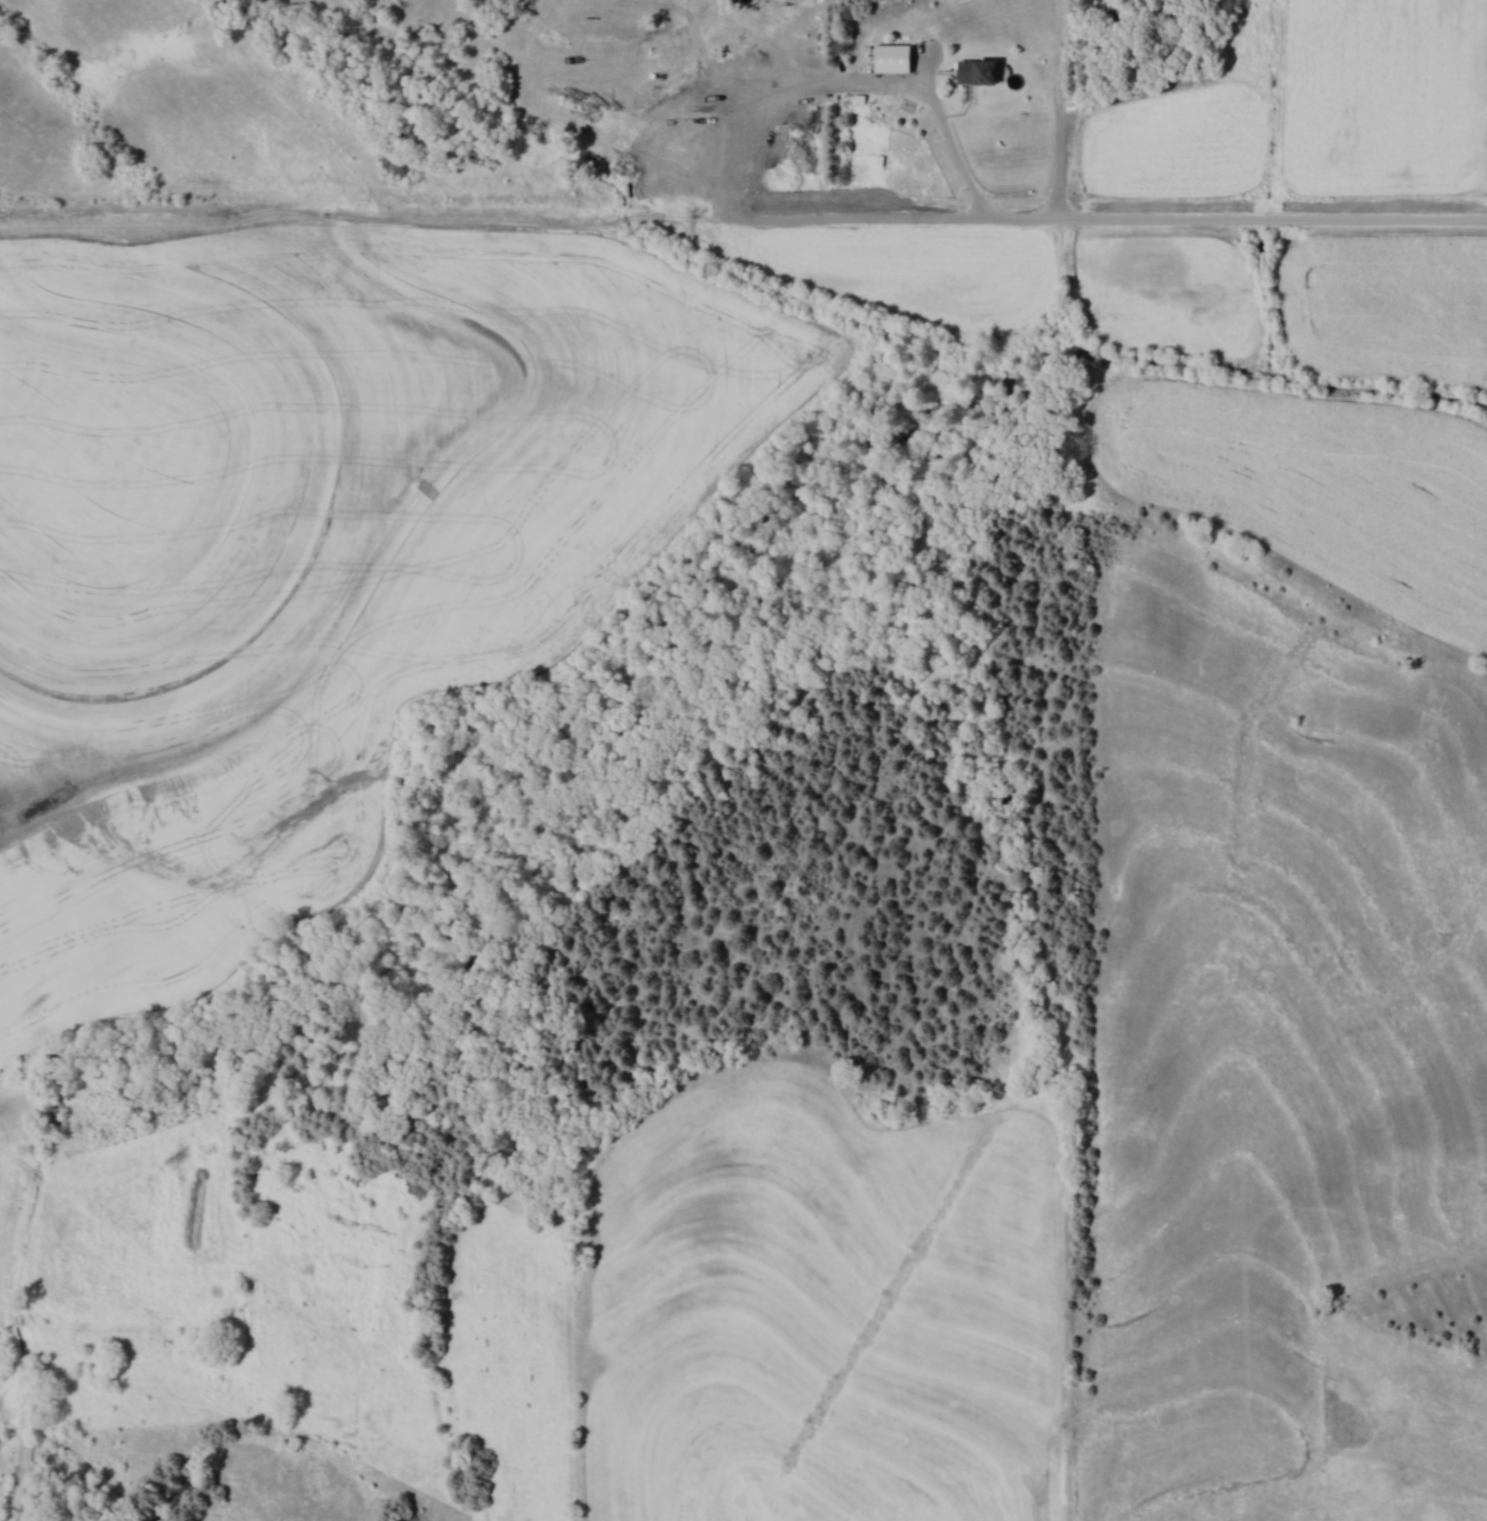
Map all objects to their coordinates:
building: (893, 59)
building: (978, 72)
road: (1062, 110)
road: (955, 147)
road: (1232, 221)

